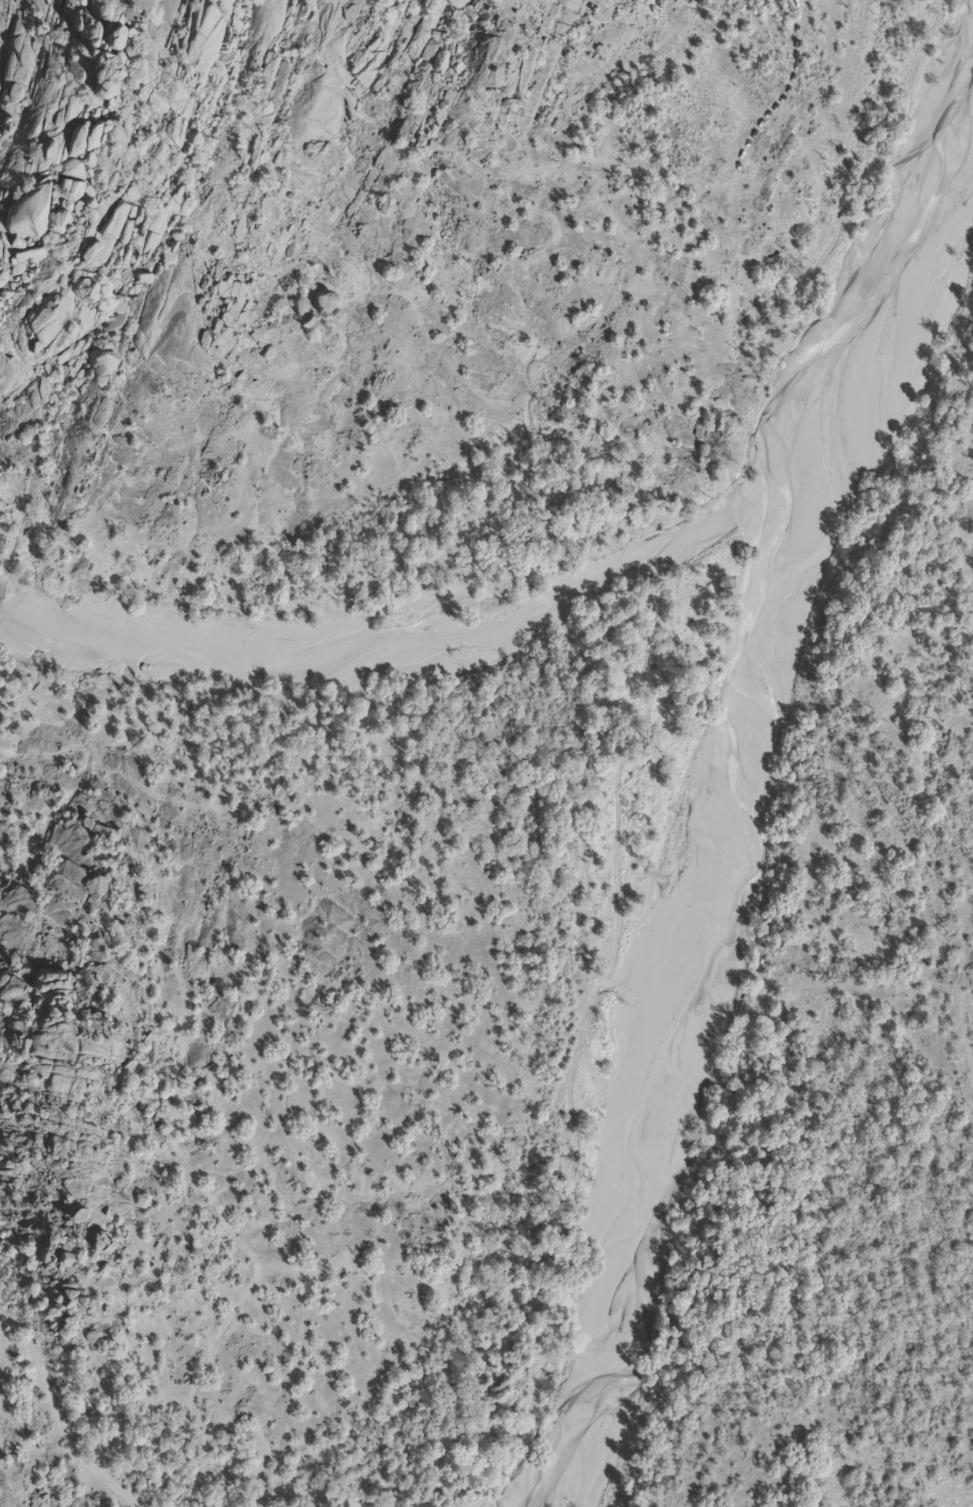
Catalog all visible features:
river: (751, 787)
building: (12, 987)

